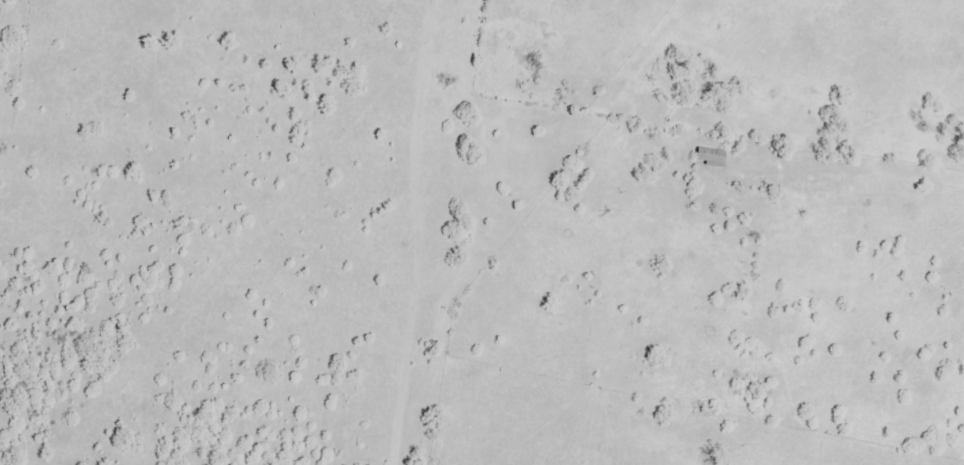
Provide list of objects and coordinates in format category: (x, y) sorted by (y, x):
building: (709, 158)

